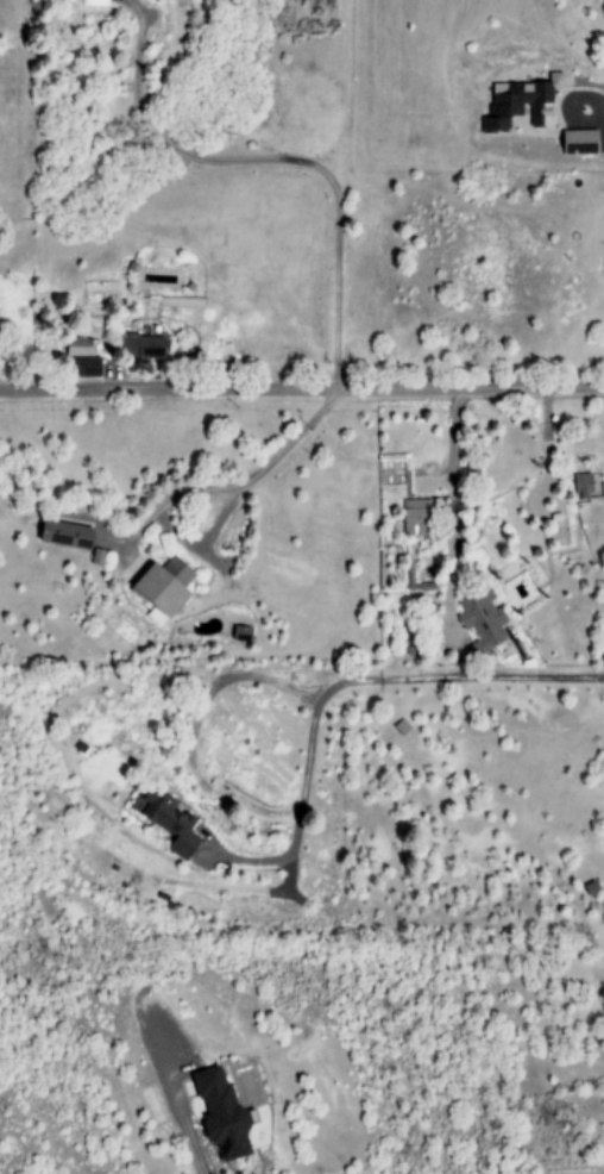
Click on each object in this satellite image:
building: (518, 104)
building: (578, 142)
building: (139, 346)
building: (76, 348)
building: (83, 367)
road: (302, 385)
building: (580, 486)
building: (414, 518)
building: (64, 535)
building: (163, 586)
building: (480, 622)
building: (240, 635)
building: (166, 822)
building: (219, 1114)

